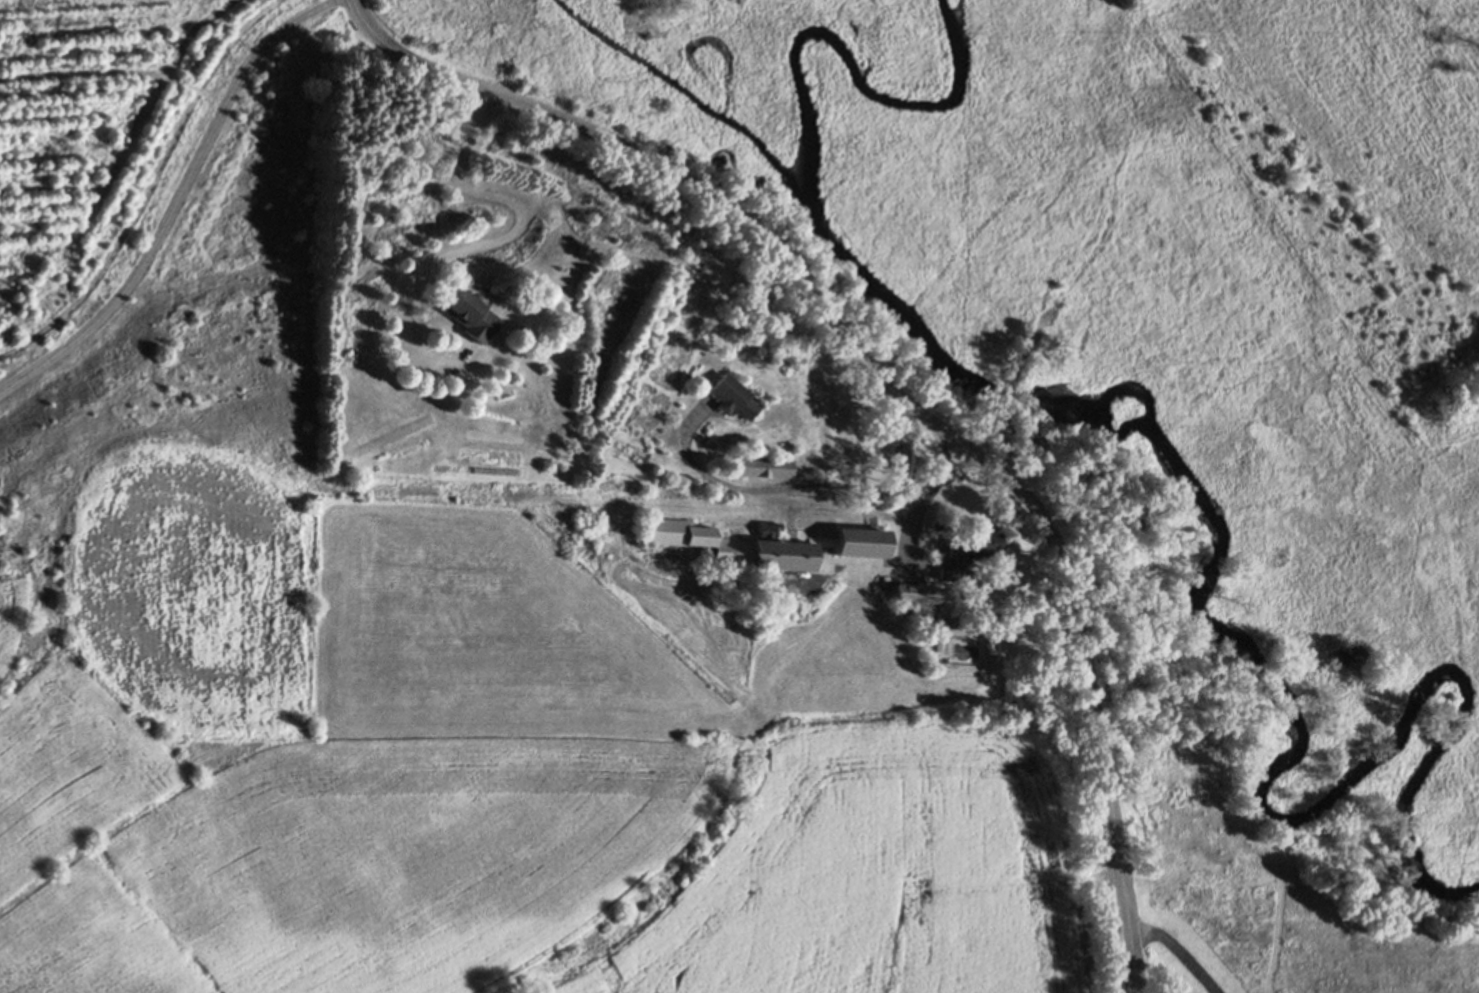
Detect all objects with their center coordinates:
road: (177, 201)
road: (478, 244)
building: (470, 312)
road: (890, 390)
building: (727, 395)
building: (762, 465)
road: (797, 487)
road: (893, 516)
building: (857, 542)
building: (730, 546)
building: (964, 552)
building: (962, 574)
building: (914, 593)
building: (930, 657)
river: (1280, 662)
road: (1179, 952)

